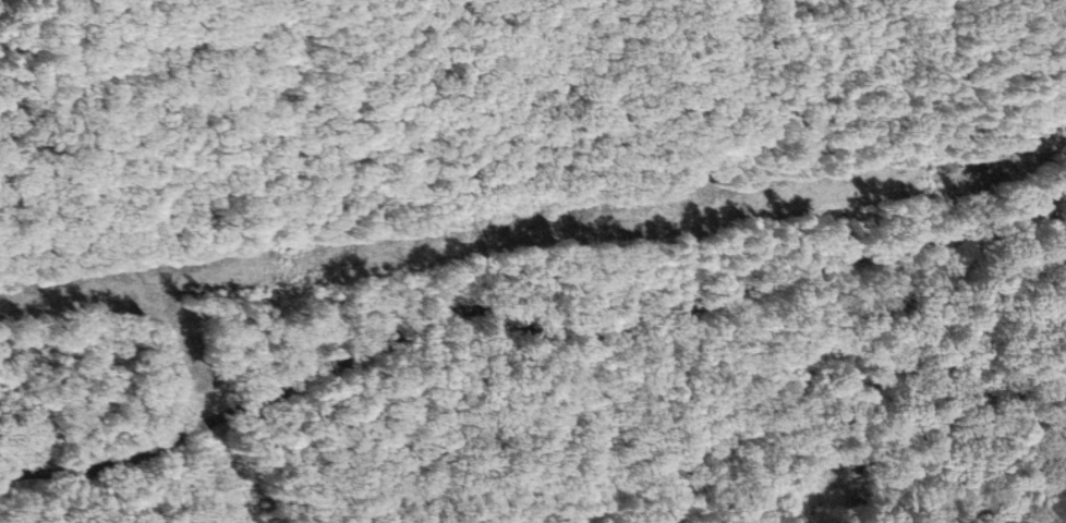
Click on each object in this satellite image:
road: (1058, 315)
road: (528, 333)
road: (950, 343)

